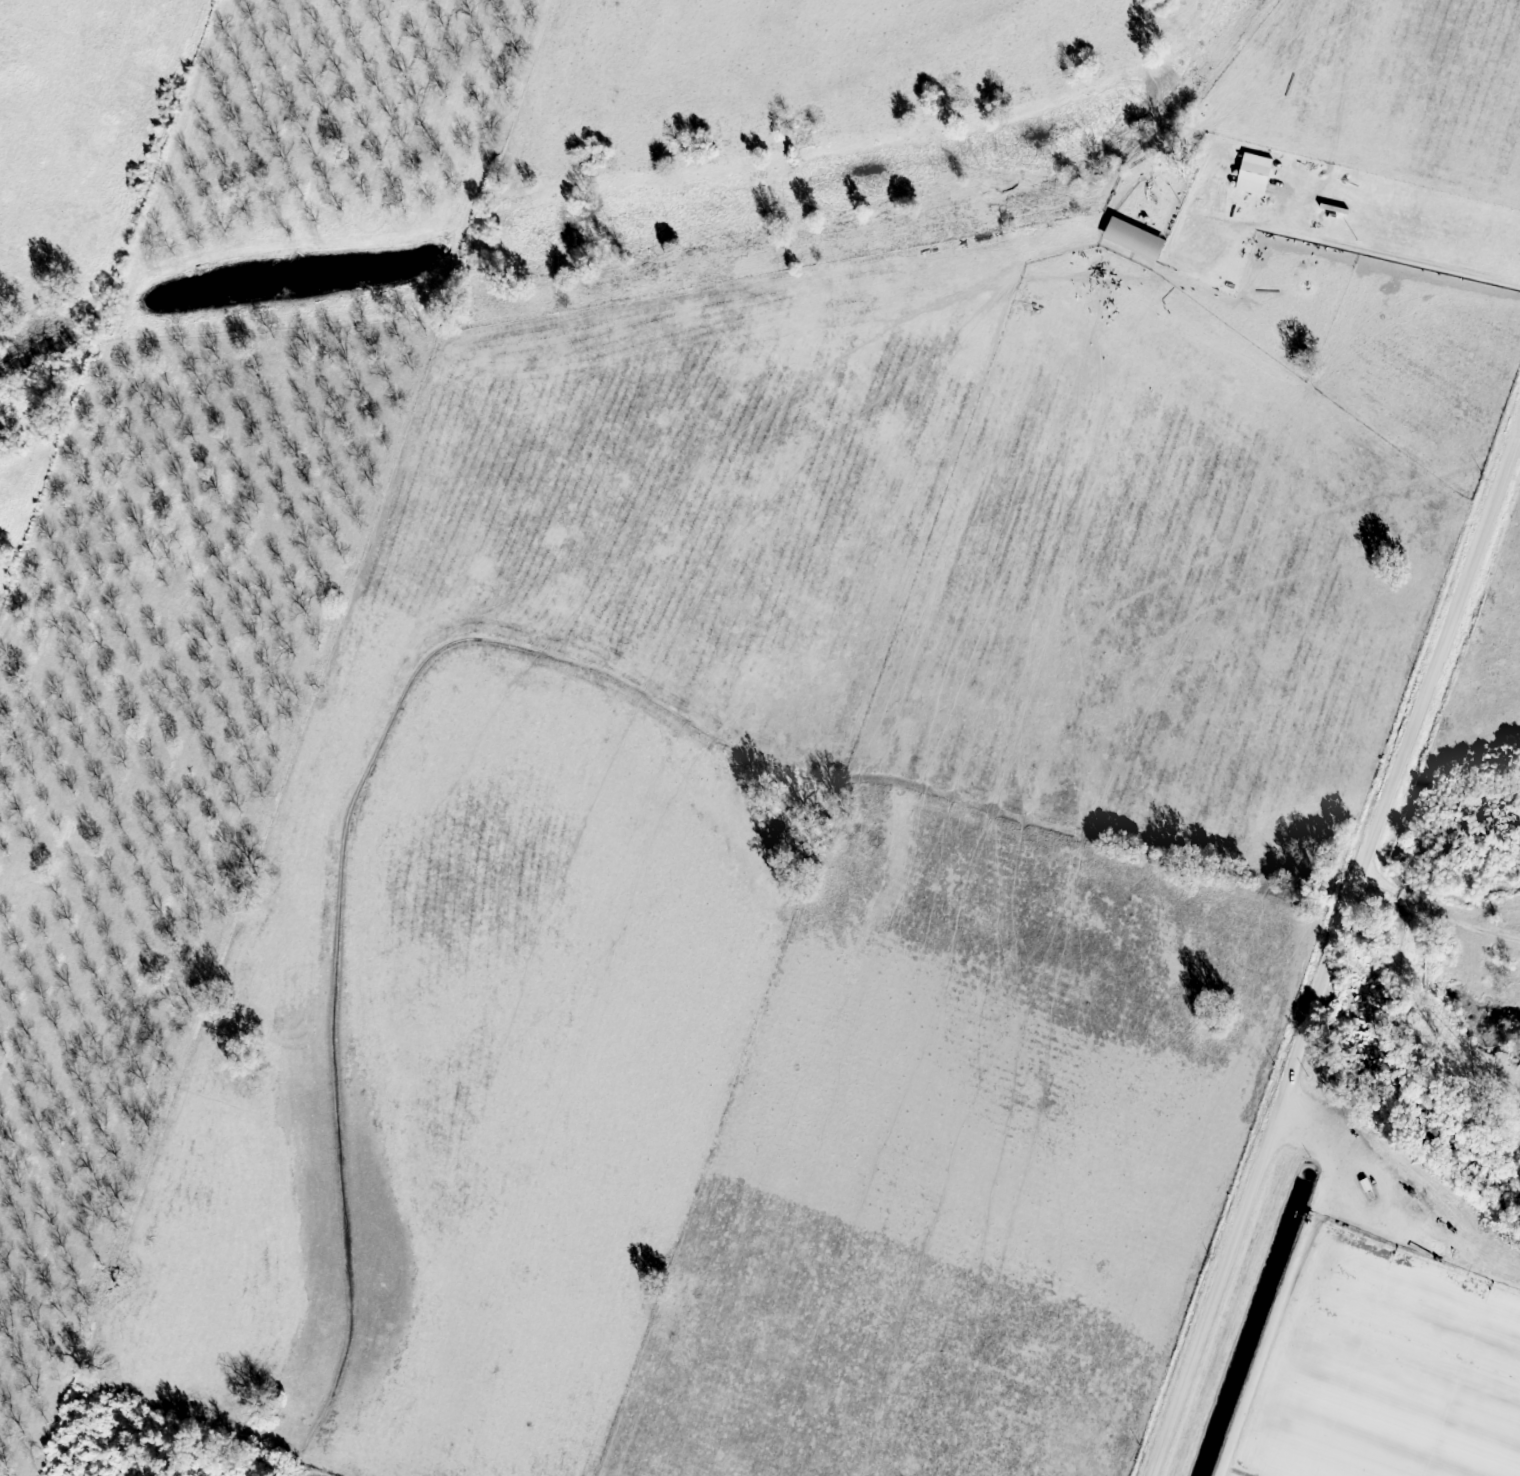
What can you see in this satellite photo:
building: (1256, 174)
building: (1135, 239)
road: (1364, 242)
road: (1340, 961)
road: (1322, 1101)
road: (1284, 1300)

